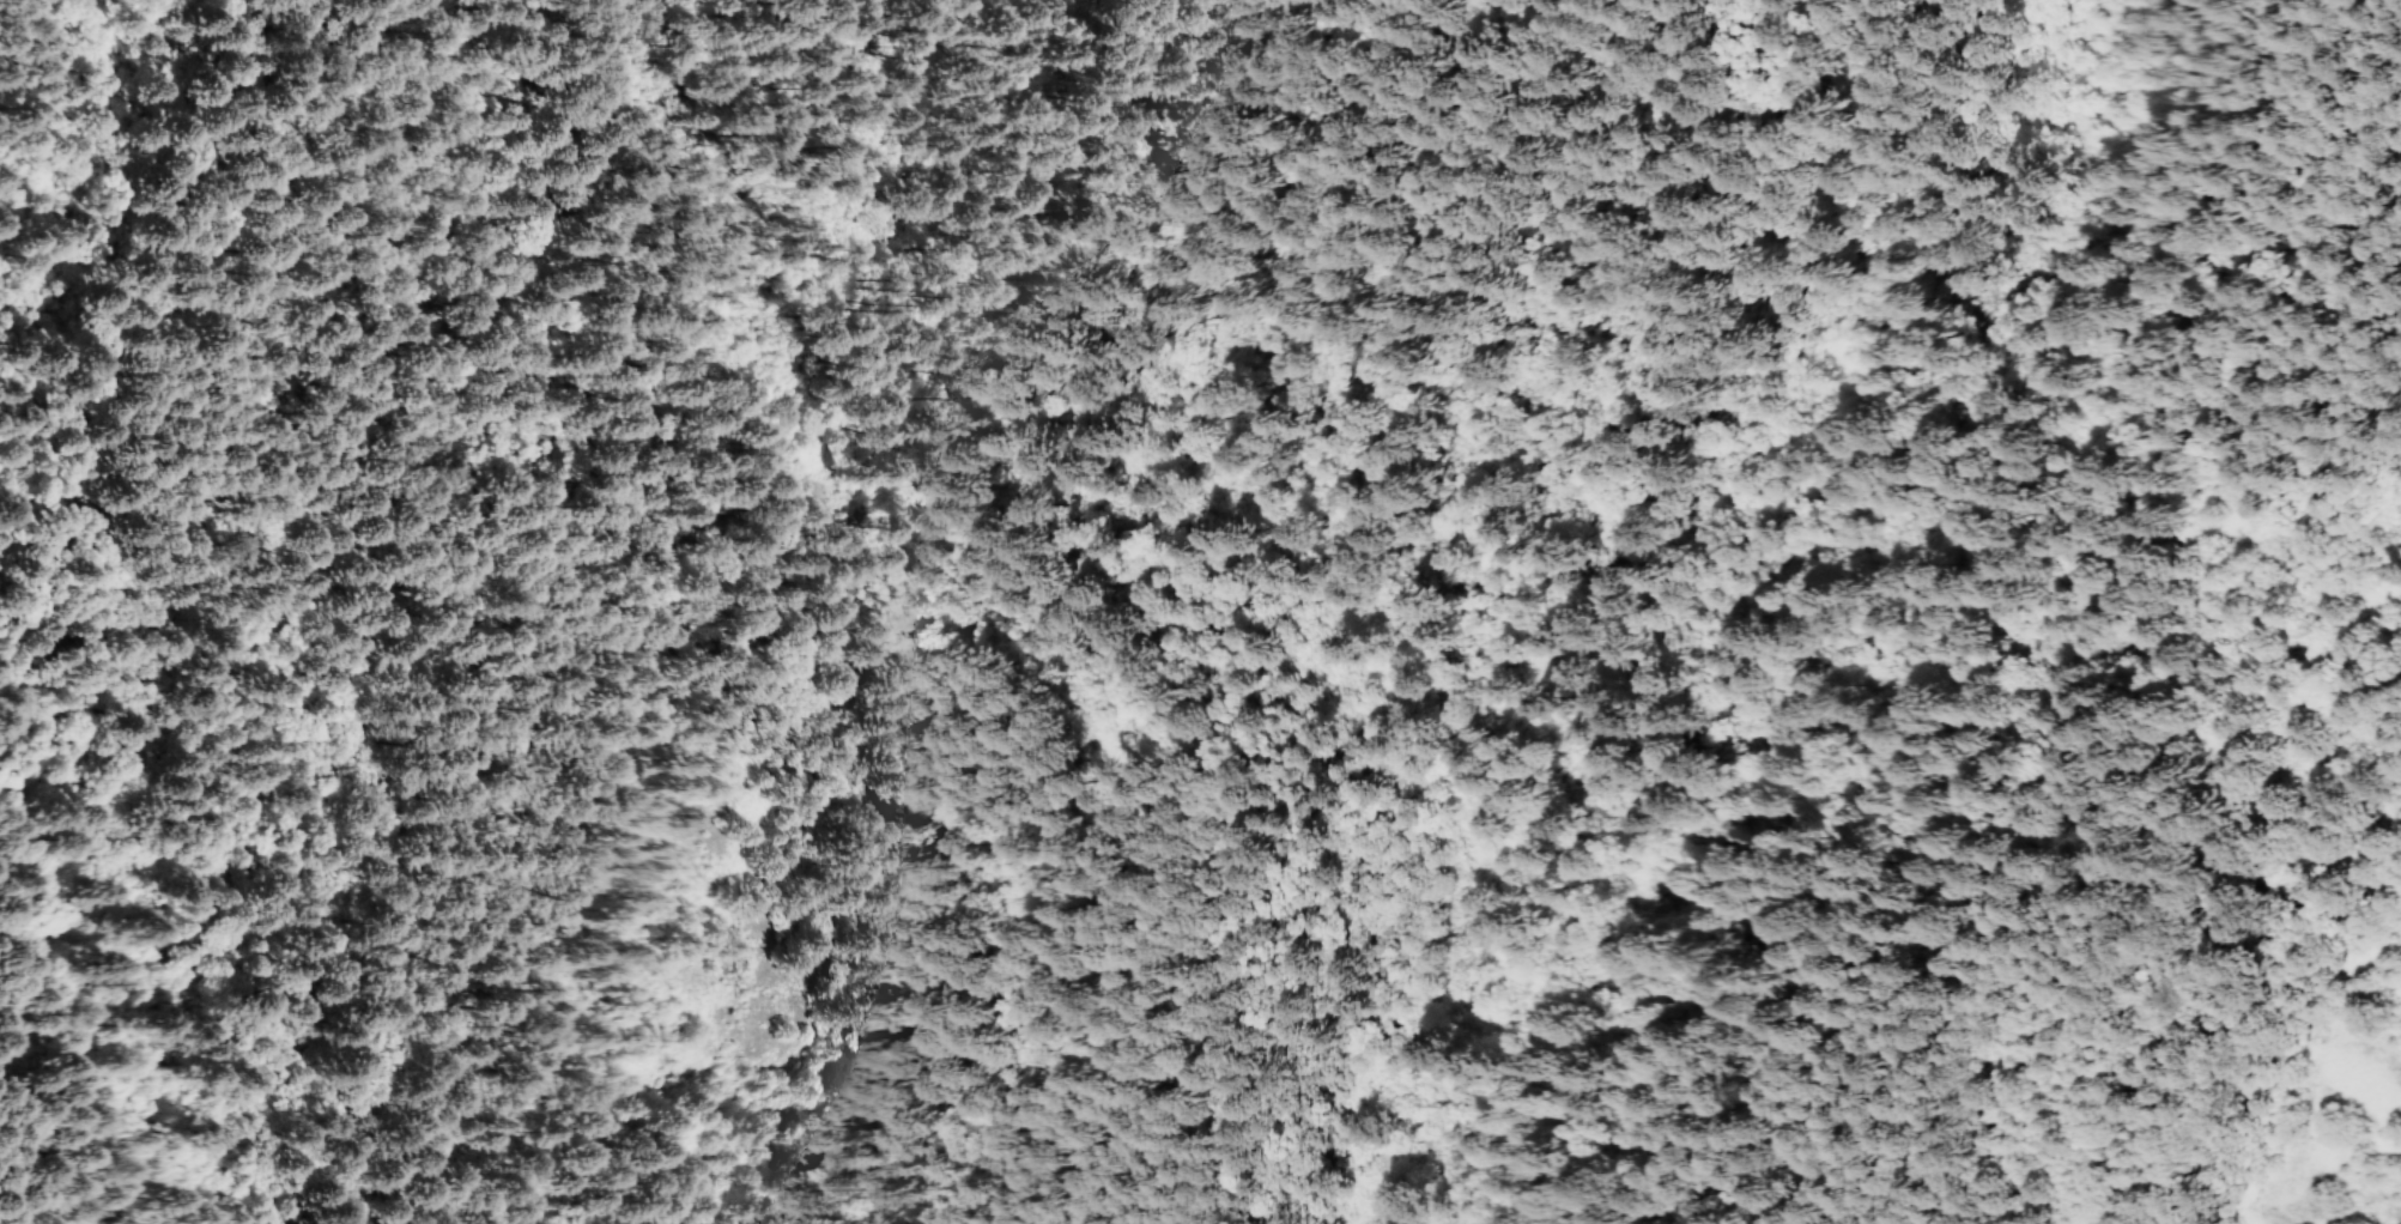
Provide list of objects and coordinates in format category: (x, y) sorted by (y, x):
road: (2376, 715)

